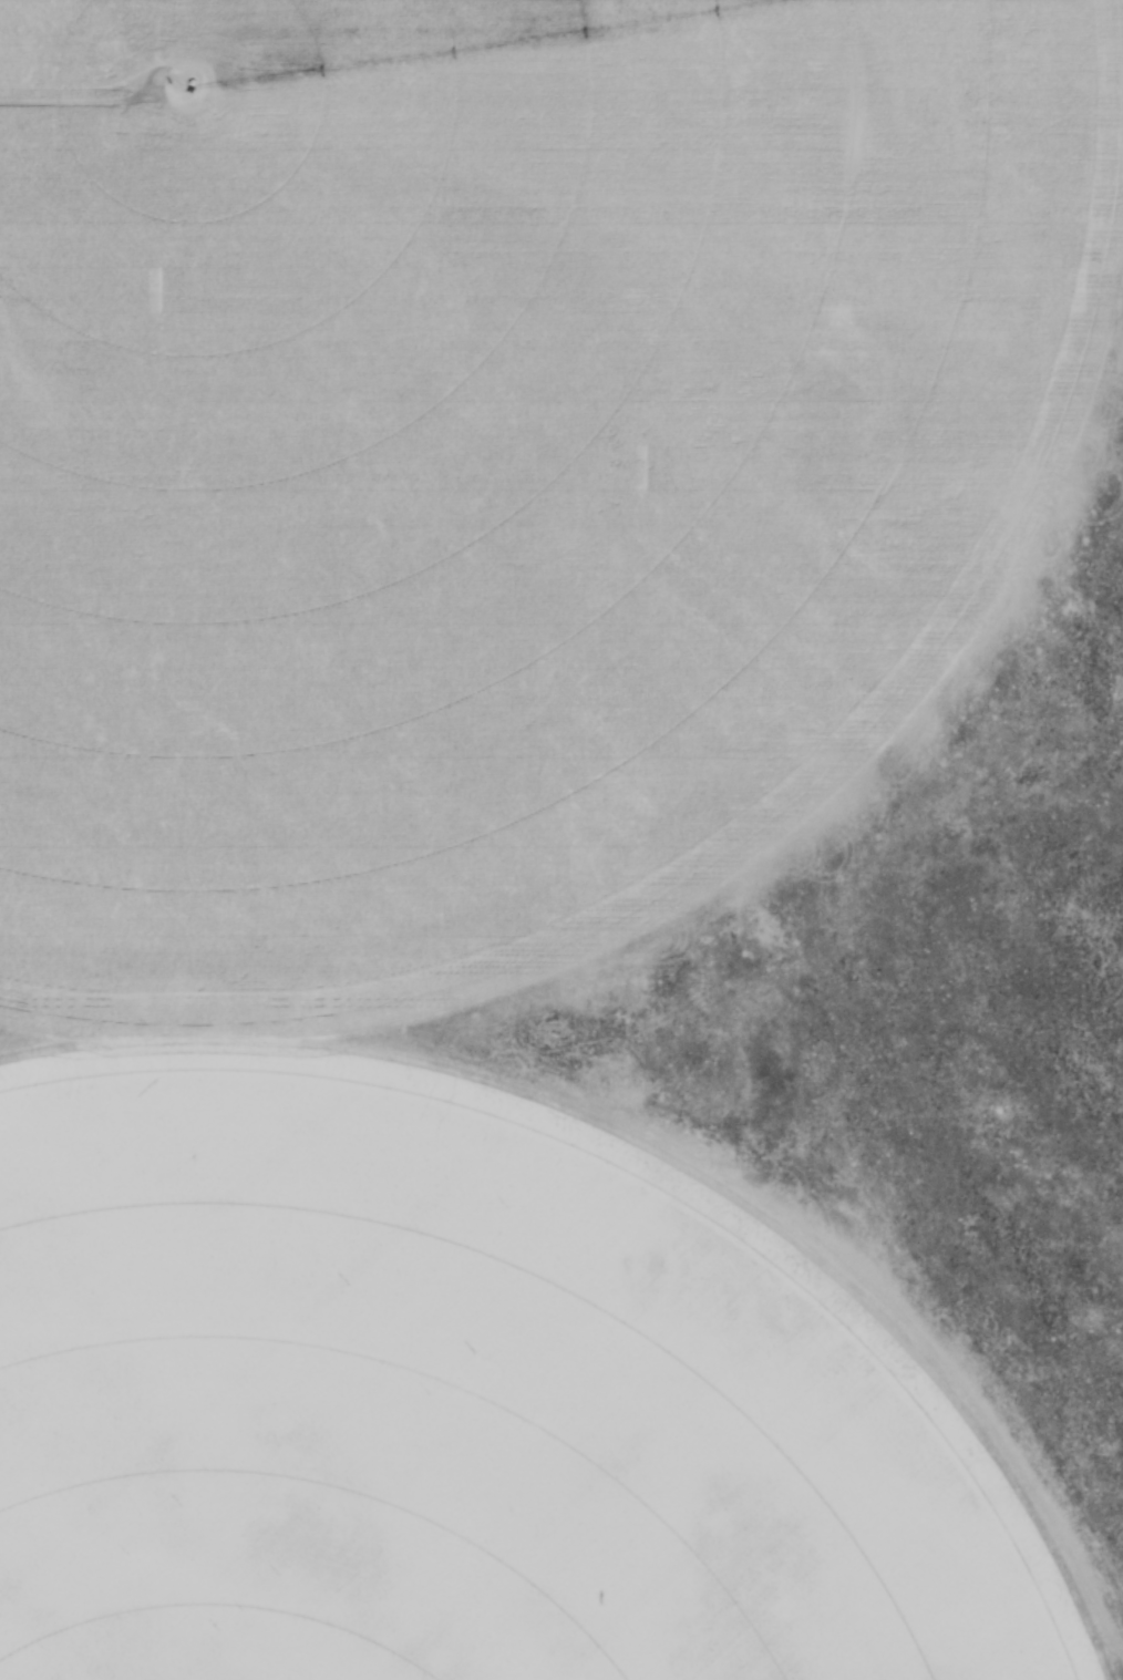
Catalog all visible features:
crop: (497, 457)
crop: (461, 1401)

